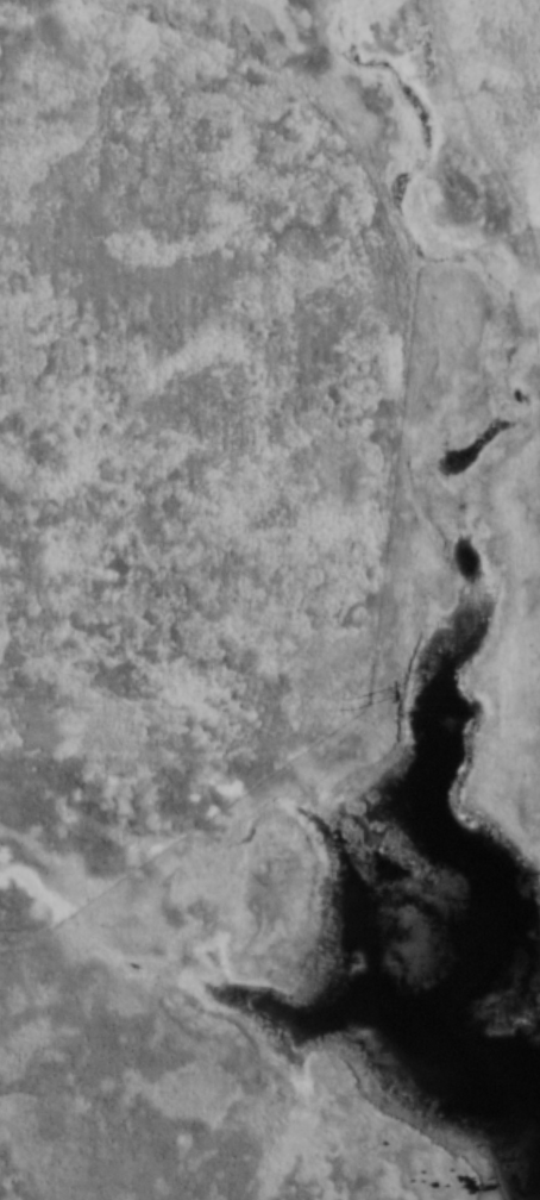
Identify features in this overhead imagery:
power tower: (357, 705)

